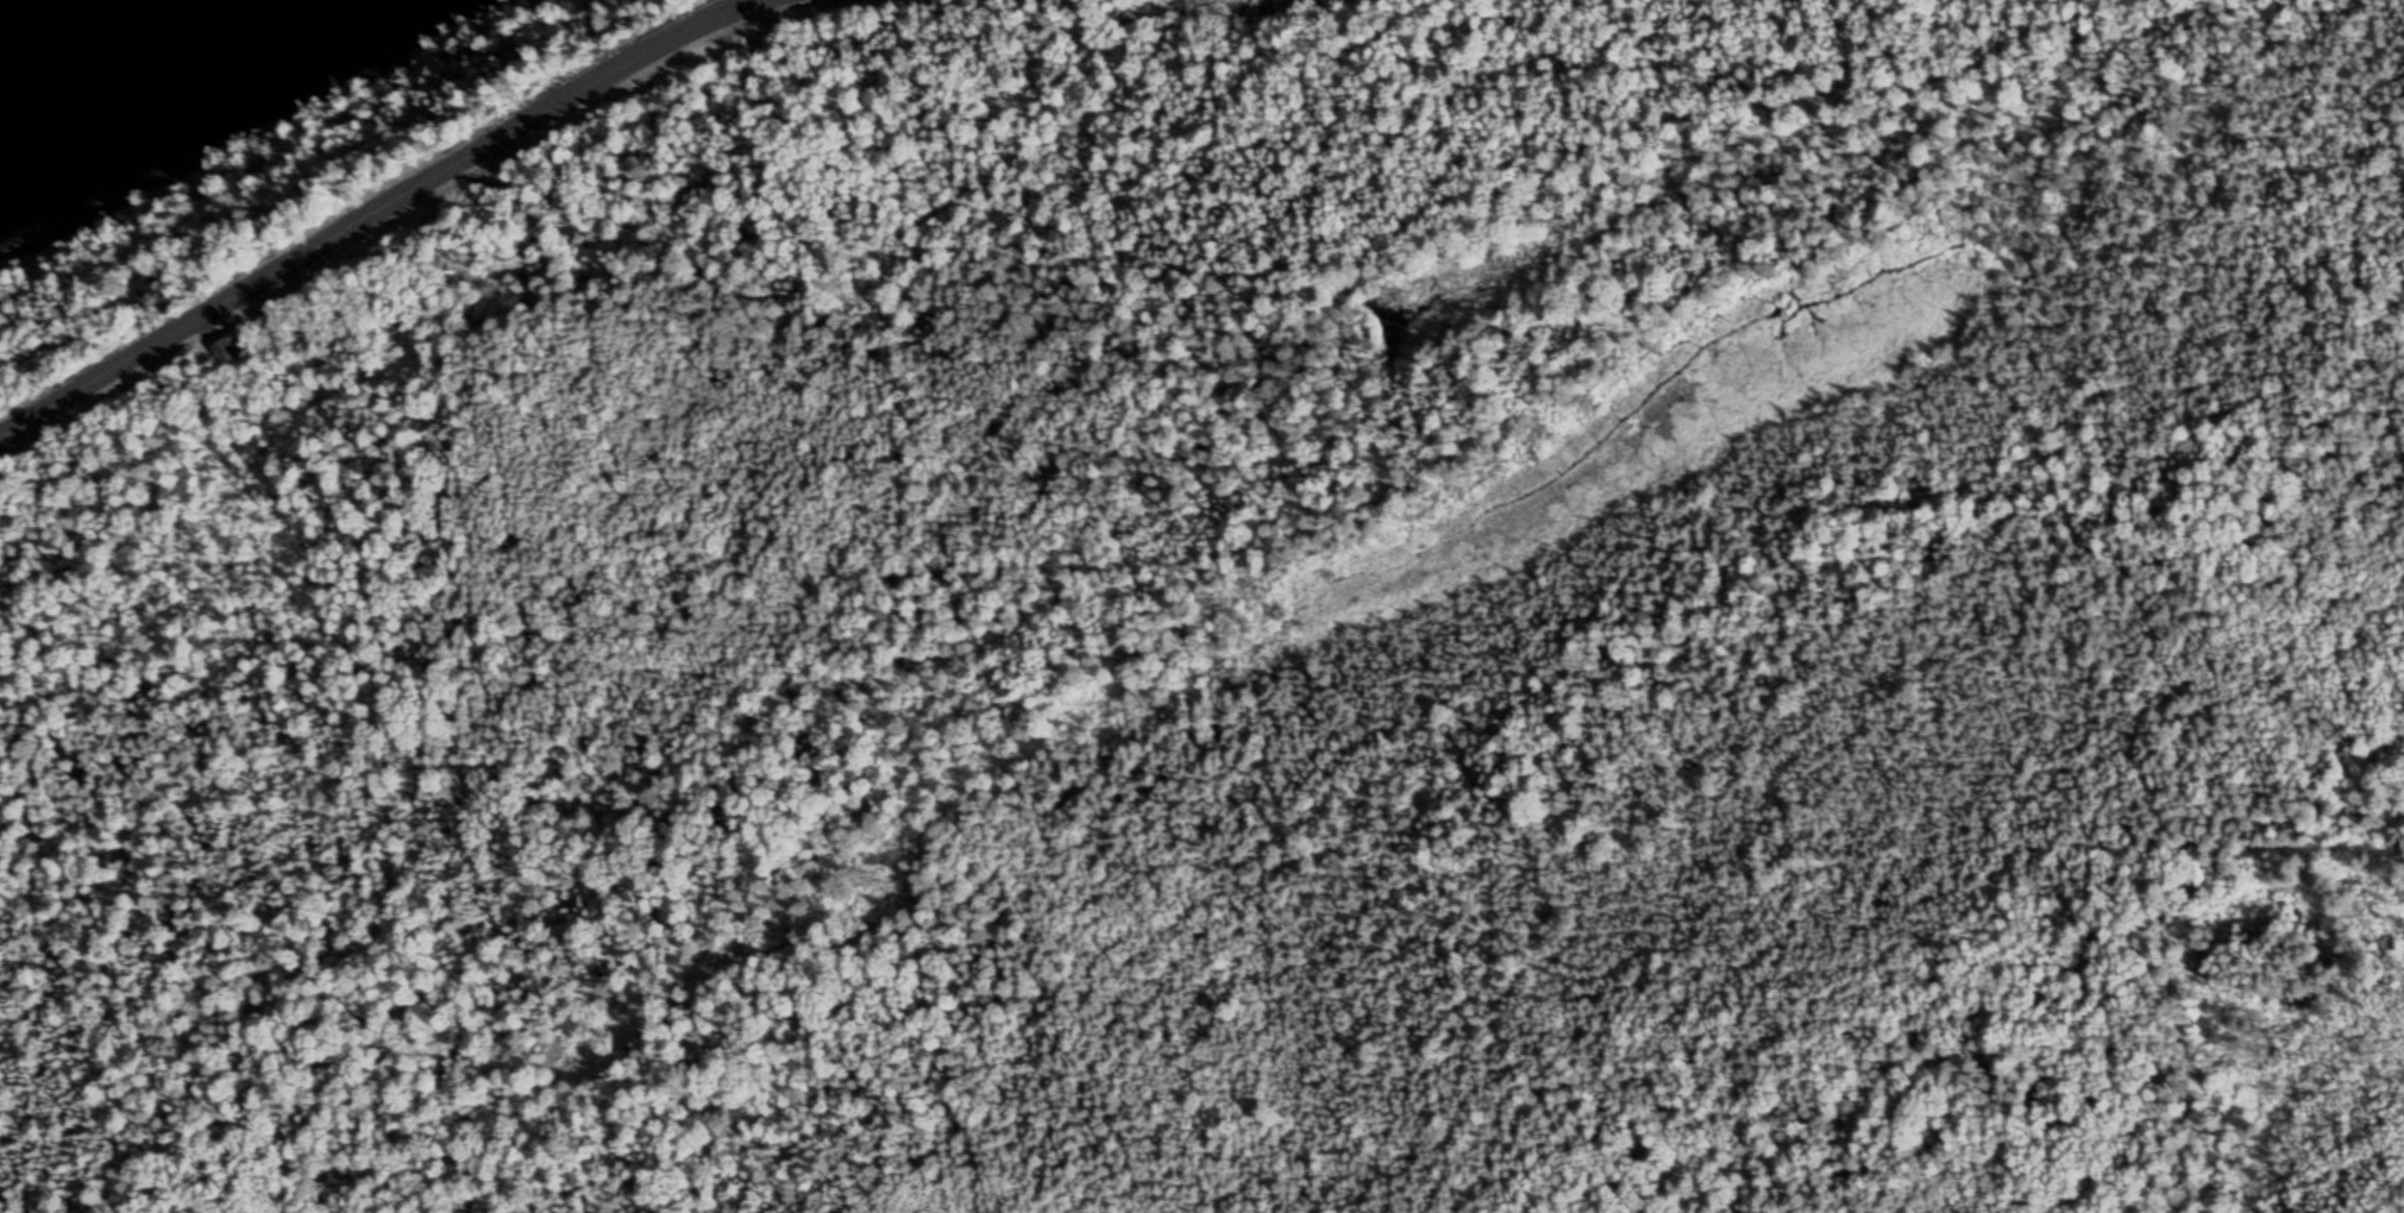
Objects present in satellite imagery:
road: (388, 209)

